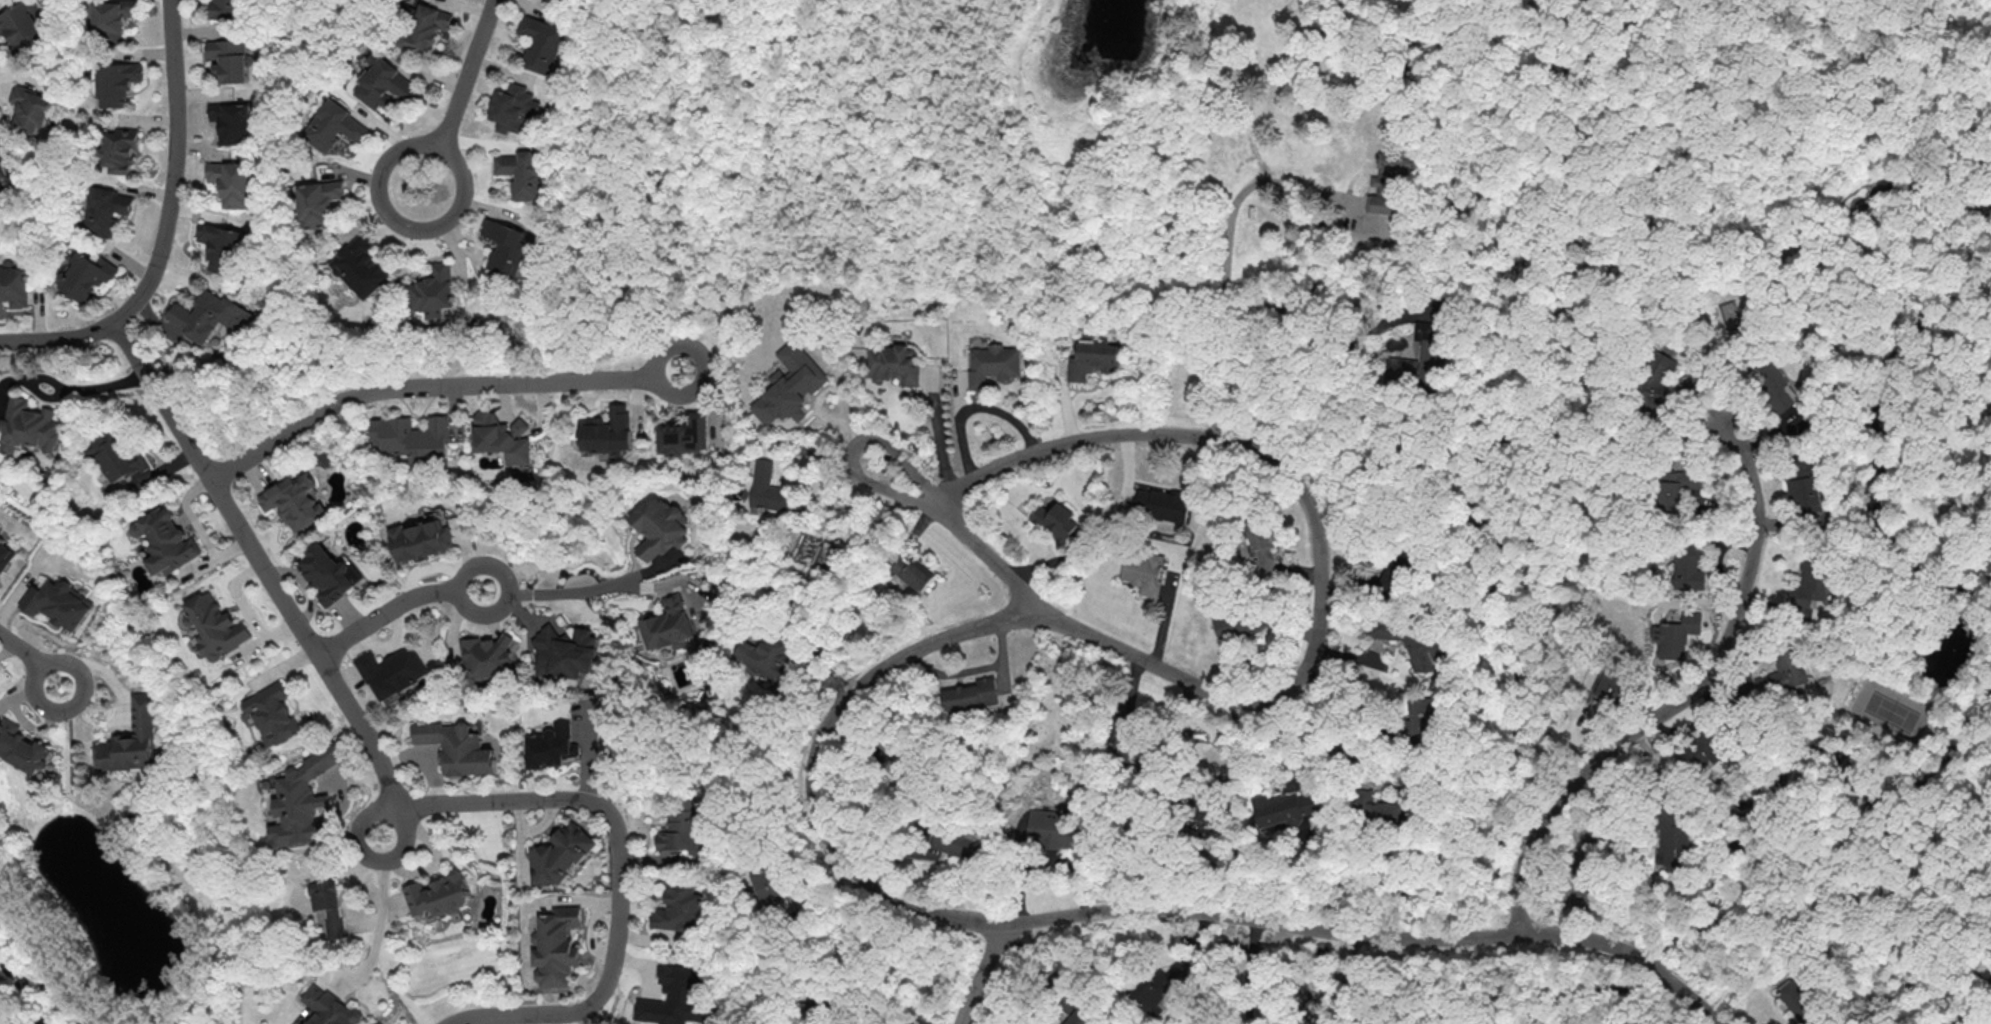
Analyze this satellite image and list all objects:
building: (225, 10)
road: (1703, 12)
building: (109, 18)
building: (22, 26)
building: (425, 28)
building: (541, 43)
building: (228, 59)
road: (472, 67)
building: (116, 82)
building: (383, 84)
building: (29, 107)
road: (1073, 107)
road: (891, 117)
building: (234, 120)
building: (333, 127)
park: (1836, 136)
building: (118, 150)
park: (901, 160)
building: (2, 169)
building: (1396, 170)
building: (522, 173)
building: (232, 182)
building: (319, 202)
building: (104, 210)
road: (405, 226)
road: (166, 229)
building: (220, 246)
road: (1228, 247)
building: (505, 248)
building: (360, 267)
building: (85, 275)
building: (14, 287)
building: (432, 291)
building: (1732, 309)
building: (209, 315)
building: (1418, 356)
building: (1093, 360)
building: (893, 363)
building: (994, 364)
road: (1316, 365)
building: (1769, 381)
building: (789, 384)
road: (432, 386)
building: (1657, 388)
road: (94, 390)
road: (971, 408)
building: (32, 425)
building: (608, 430)
building: (685, 434)
building: (502, 436)
building: (413, 438)
building: (116, 455)
building: (1677, 486)
building: (768, 488)
road: (897, 490)
building: (1803, 494)
building: (294, 501)
building: (1160, 505)
building: (1056, 520)
building: (658, 527)
building: (421, 538)
building: (165, 541)
building: (1260, 544)
building: (5, 556)
building: (1691, 568)
building: (910, 570)
building: (1143, 571)
building: (328, 573)
road: (273, 579)
building: (1813, 587)
road: (556, 594)
building: (58, 603)
road: (392, 606)
building: (668, 624)
building: (1233, 624)
building: (216, 626)
building: (1675, 635)
building: (563, 651)
building: (1417, 652)
building: (488, 654)
building: (766, 657)
road: (30, 661)
building: (392, 672)
building: (1781, 673)
building: (1610, 684)
building: (971, 694)
road: (1679, 699)
road: (1351, 701)
road: (846, 706)
building: (274, 714)
building: (1421, 716)
building: (1123, 739)
building: (456, 746)
building: (549, 746)
building: (23, 749)
road: (1360, 751)
building: (302, 800)
building: (1385, 802)
building: (1285, 807)
building: (1207, 816)
building: (1048, 828)
building: (682, 830)
building: (956, 842)
building: (1672, 845)
building: (559, 855)
road: (619, 878)
building: (767, 886)
building: (437, 896)
building: (328, 904)
building: (679, 908)
road: (381, 920)
road: (1255, 929)
building: (555, 945)
road: (1252, 951)
road: (1346, 970)
road: (983, 974)
road: (1248, 992)
building: (676, 998)
building: (1799, 1000)
road: (1309, 1005)
road: (878, 1006)
building: (331, 1008)
building: (1083, 1017)
road: (1294, 1018)
building: (1065, 1023)

